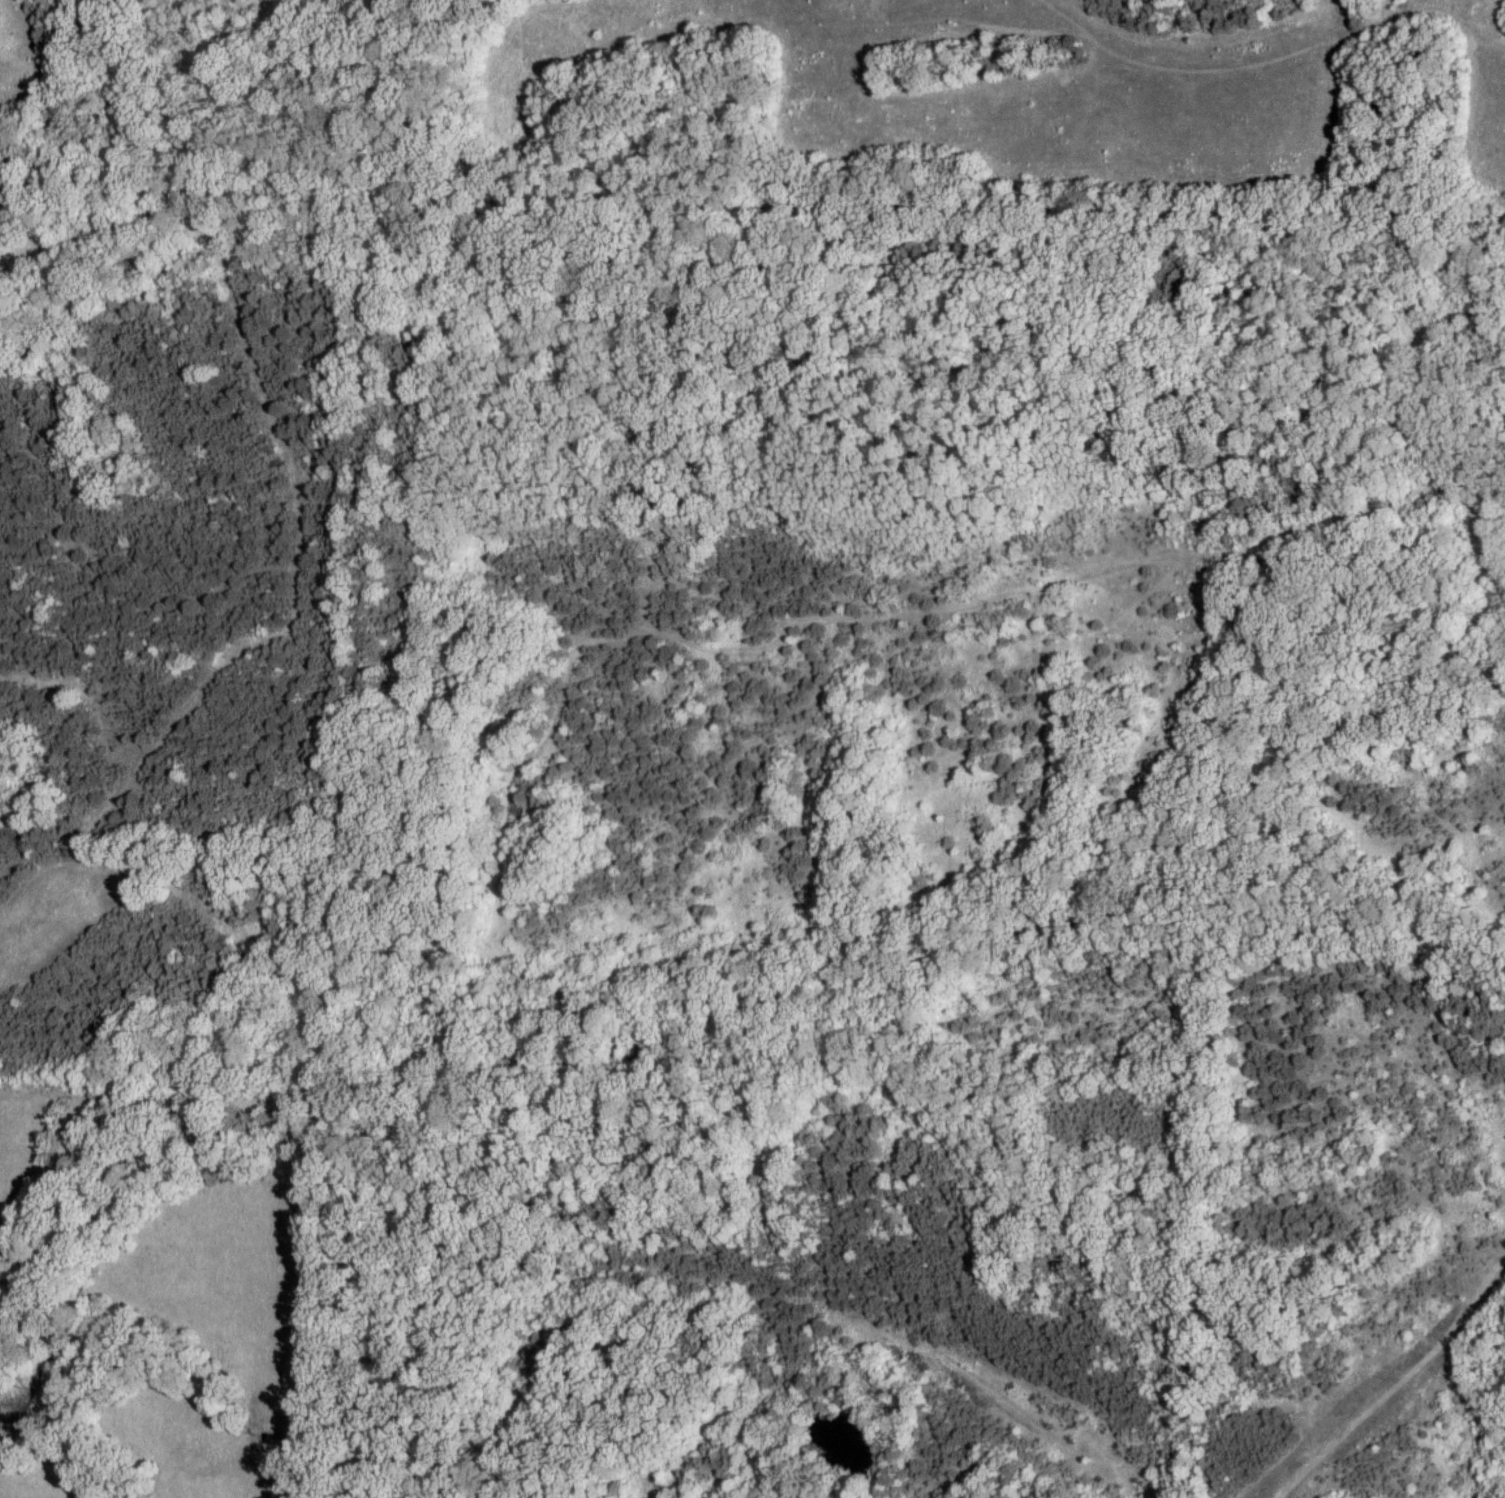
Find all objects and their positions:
road: (851, 208)
road: (99, 233)

